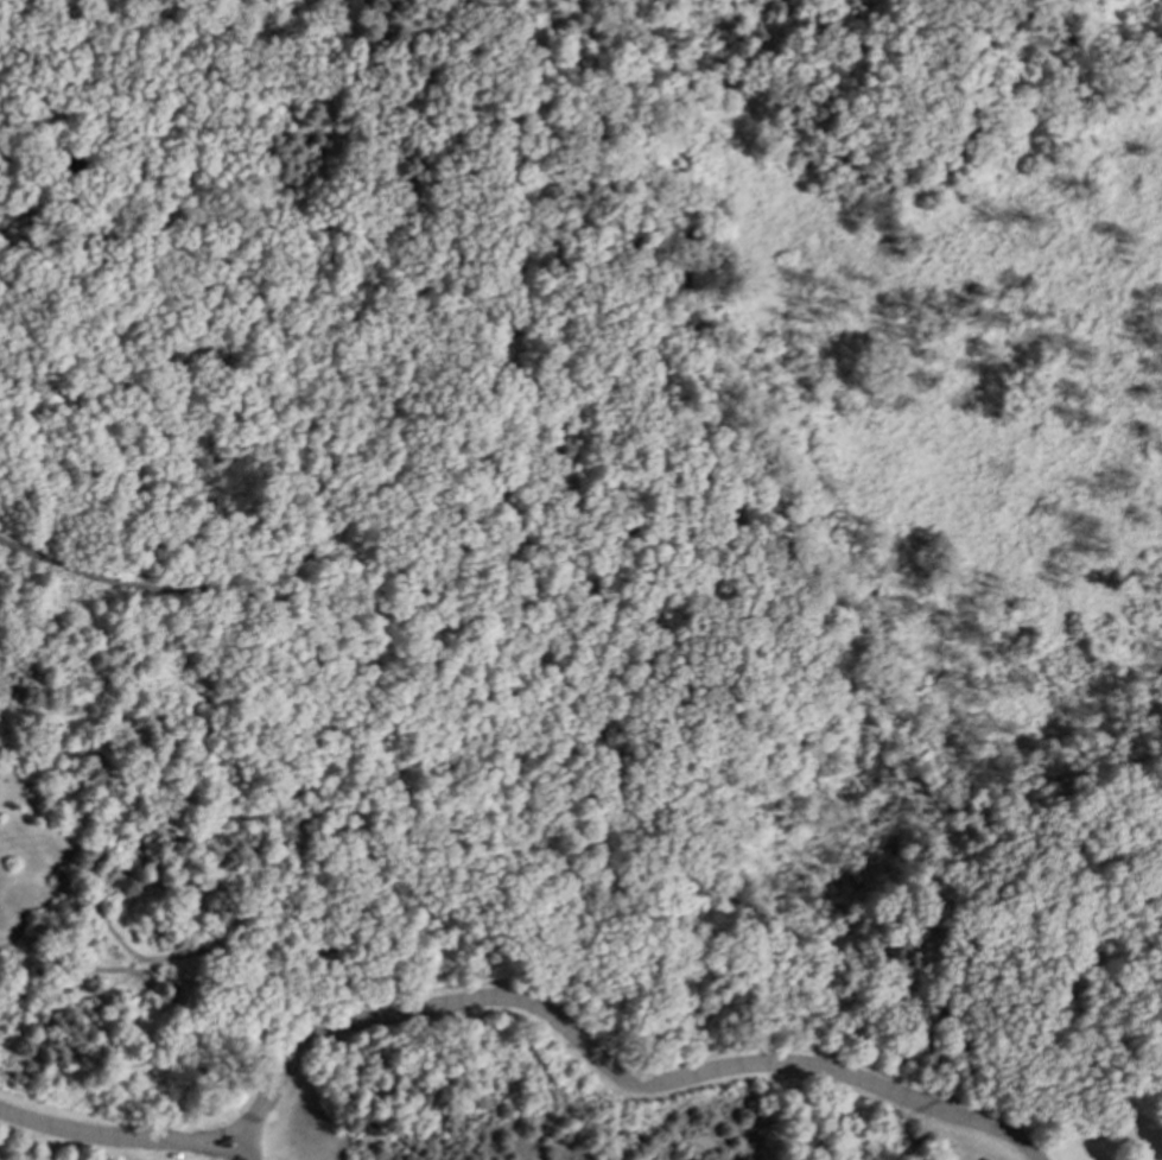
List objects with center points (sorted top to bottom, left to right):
road: (500, 329)
road: (46, 338)
road: (396, 391)
road: (166, 589)
park: (580, 603)
road: (608, 690)
road: (439, 744)
road: (1145, 938)
road: (513, 999)
road: (394, 1073)
road: (243, 1149)

